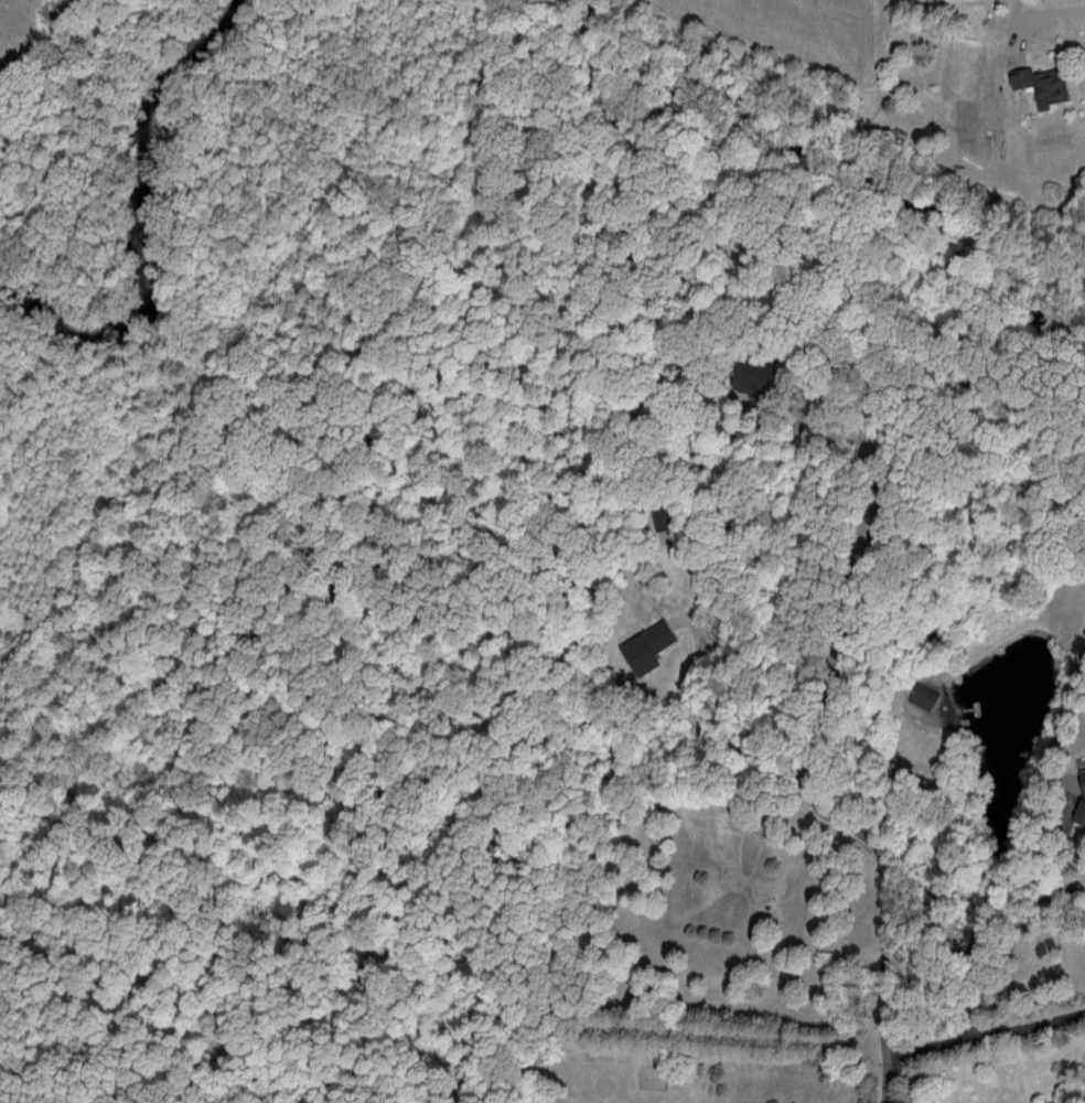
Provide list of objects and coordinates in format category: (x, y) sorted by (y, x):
road: (1042, 14)
building: (1033, 84)
road: (870, 556)
building: (643, 646)
building: (920, 694)
building: (1077, 796)
road: (825, 820)
road: (1035, 920)
road: (985, 1040)
road: (884, 1079)

